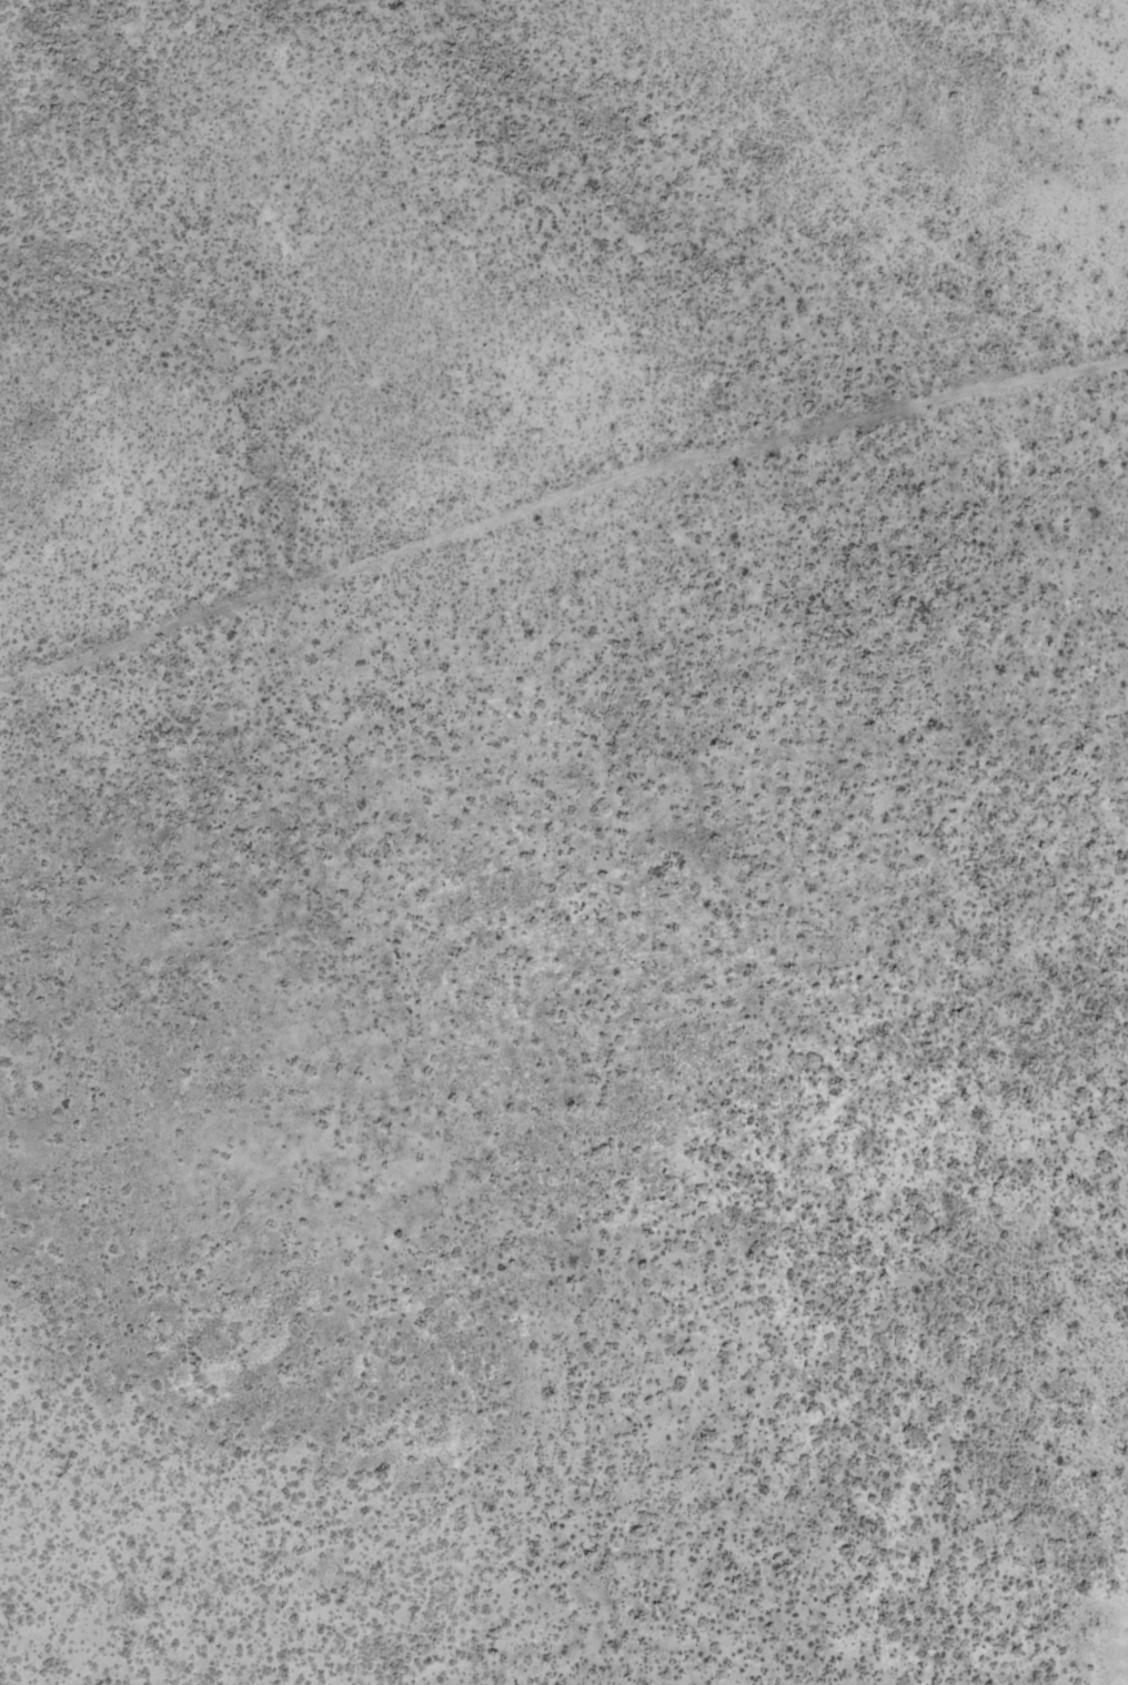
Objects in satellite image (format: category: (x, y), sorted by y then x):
road: (900, 224)
road: (788, 1205)

